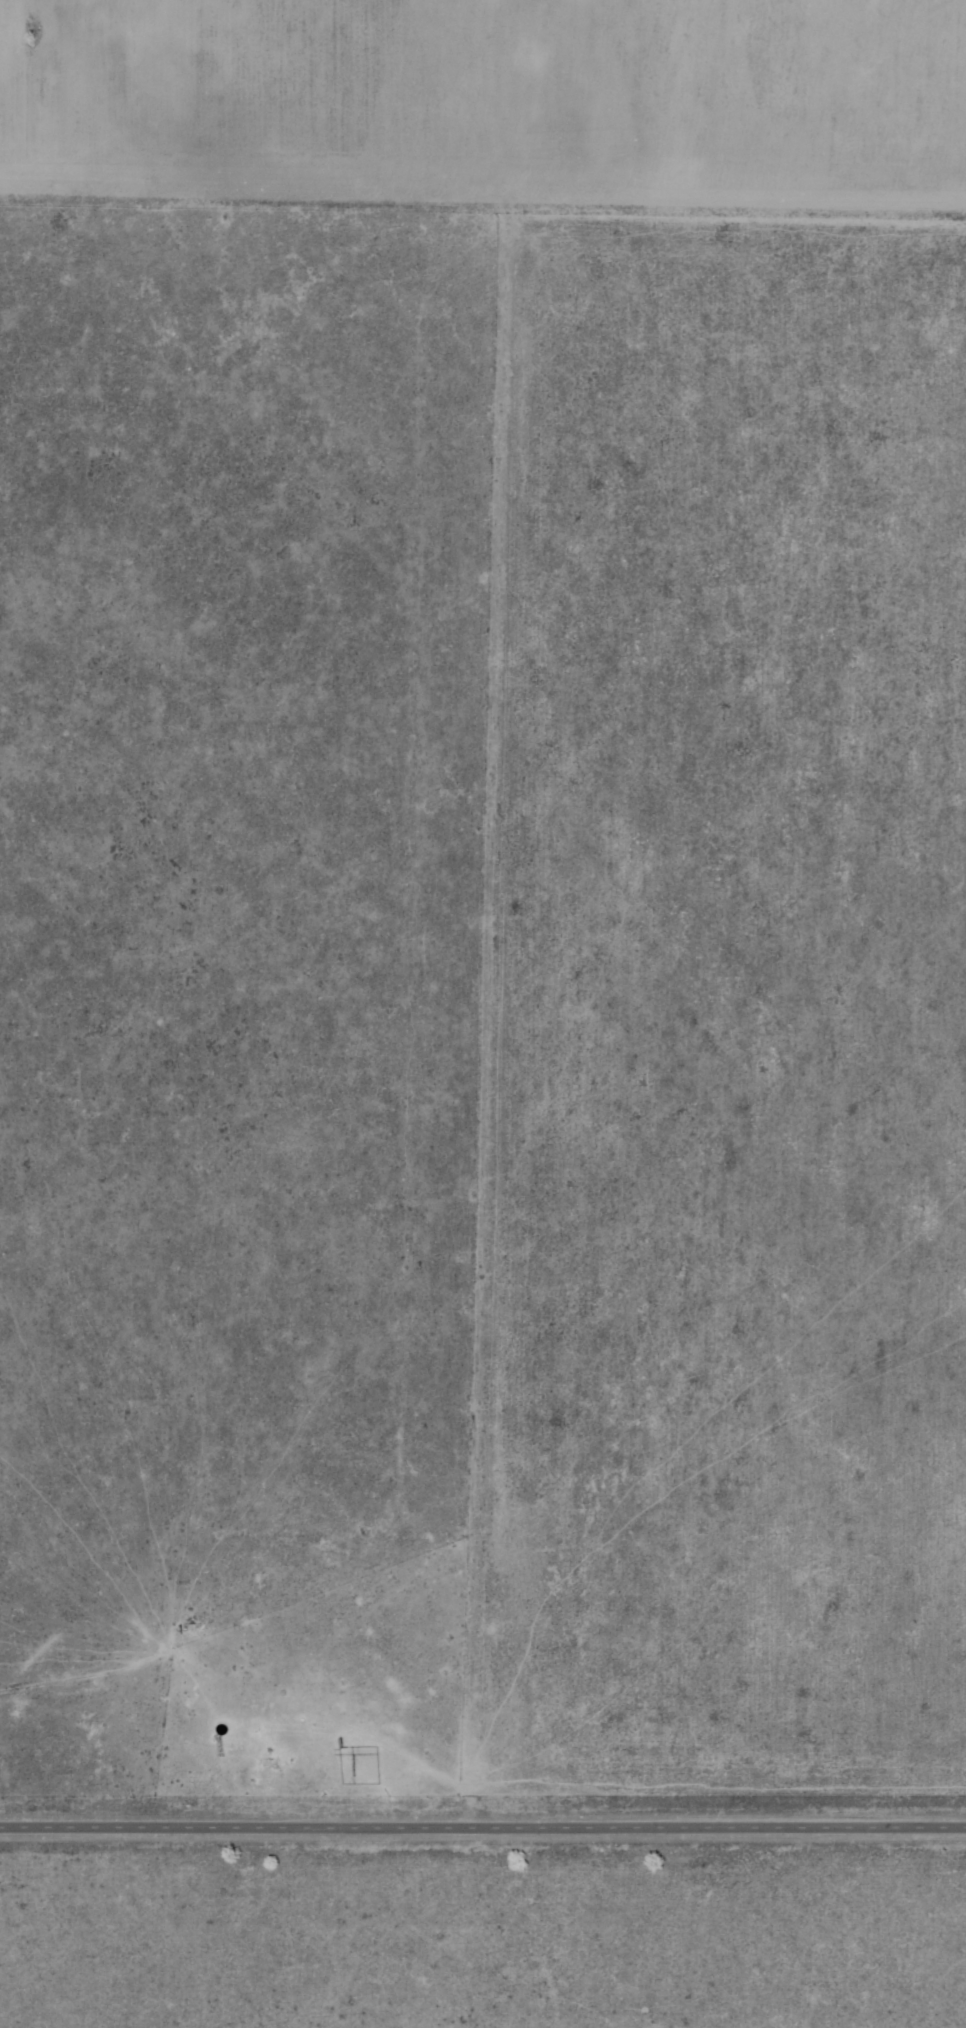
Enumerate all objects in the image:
road: (483, 1834)

